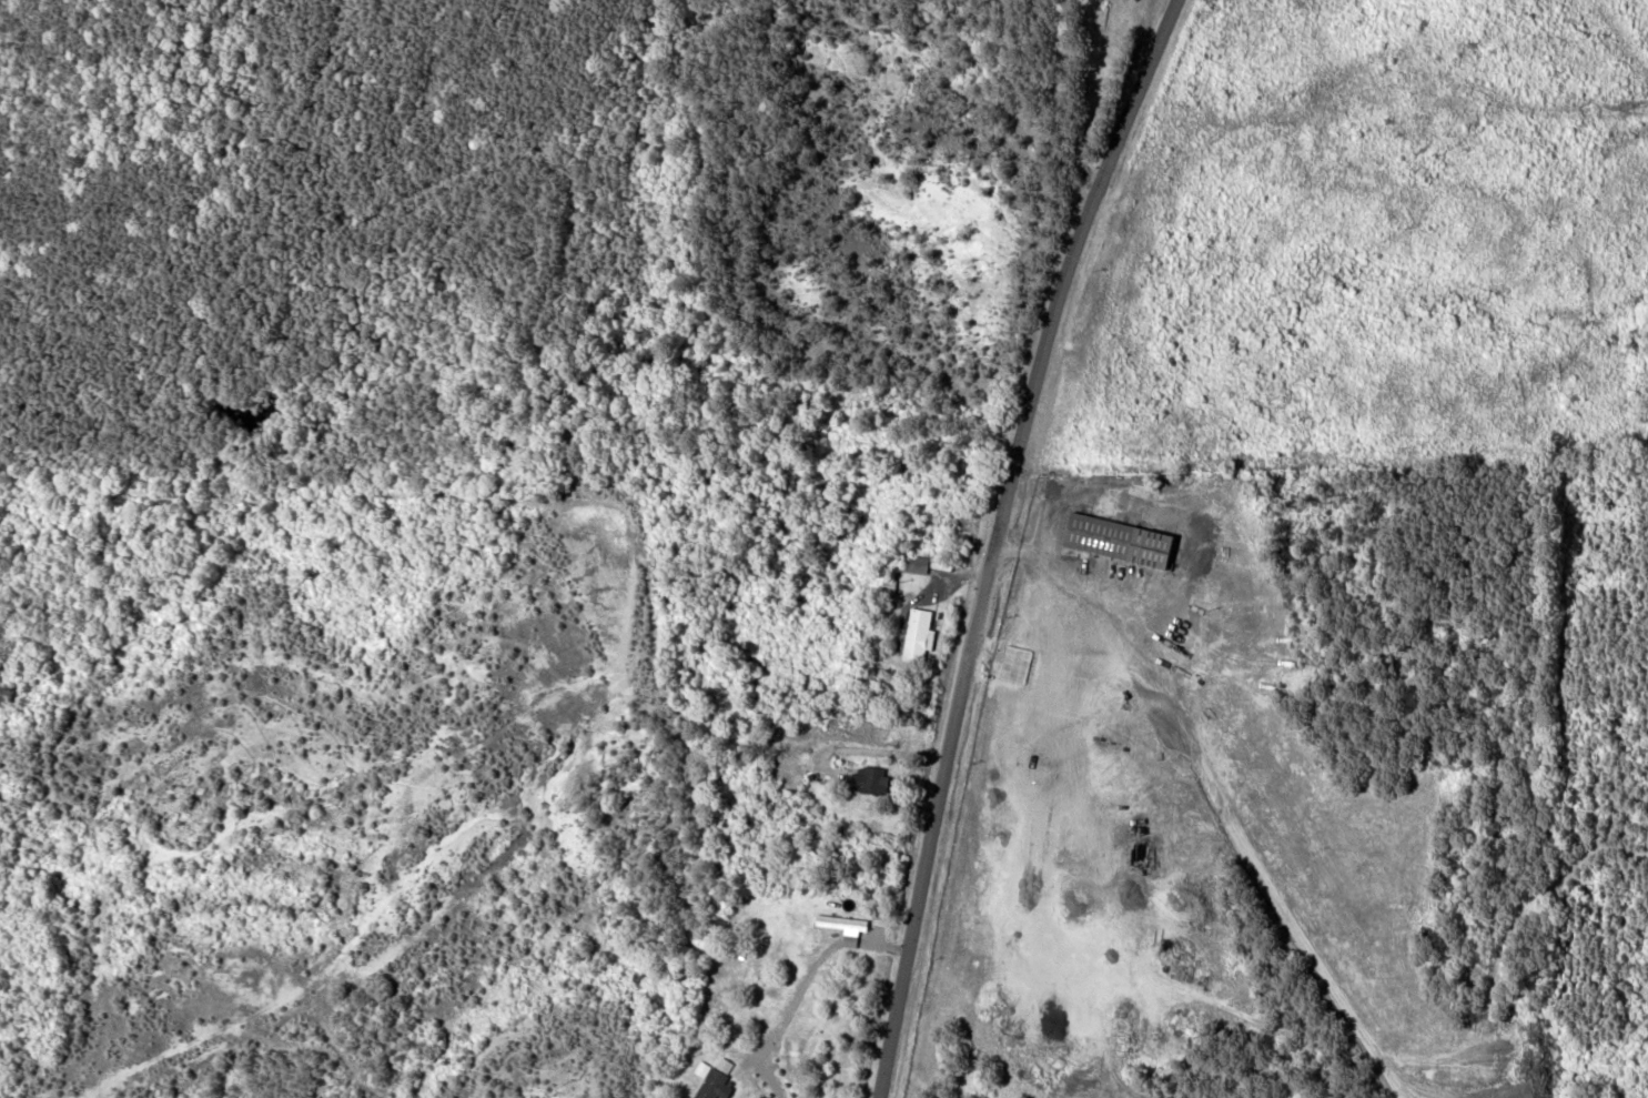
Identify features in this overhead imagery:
road: (998, 540)
building: (1122, 541)
building: (919, 565)
building: (920, 636)
building: (872, 779)
building: (718, 1078)

